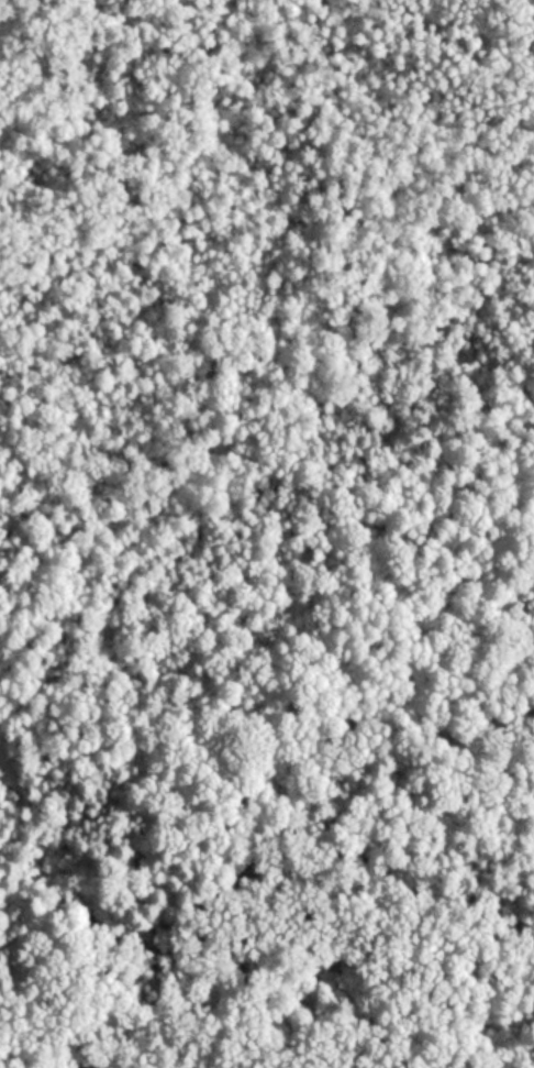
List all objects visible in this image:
park: (267, 533)

